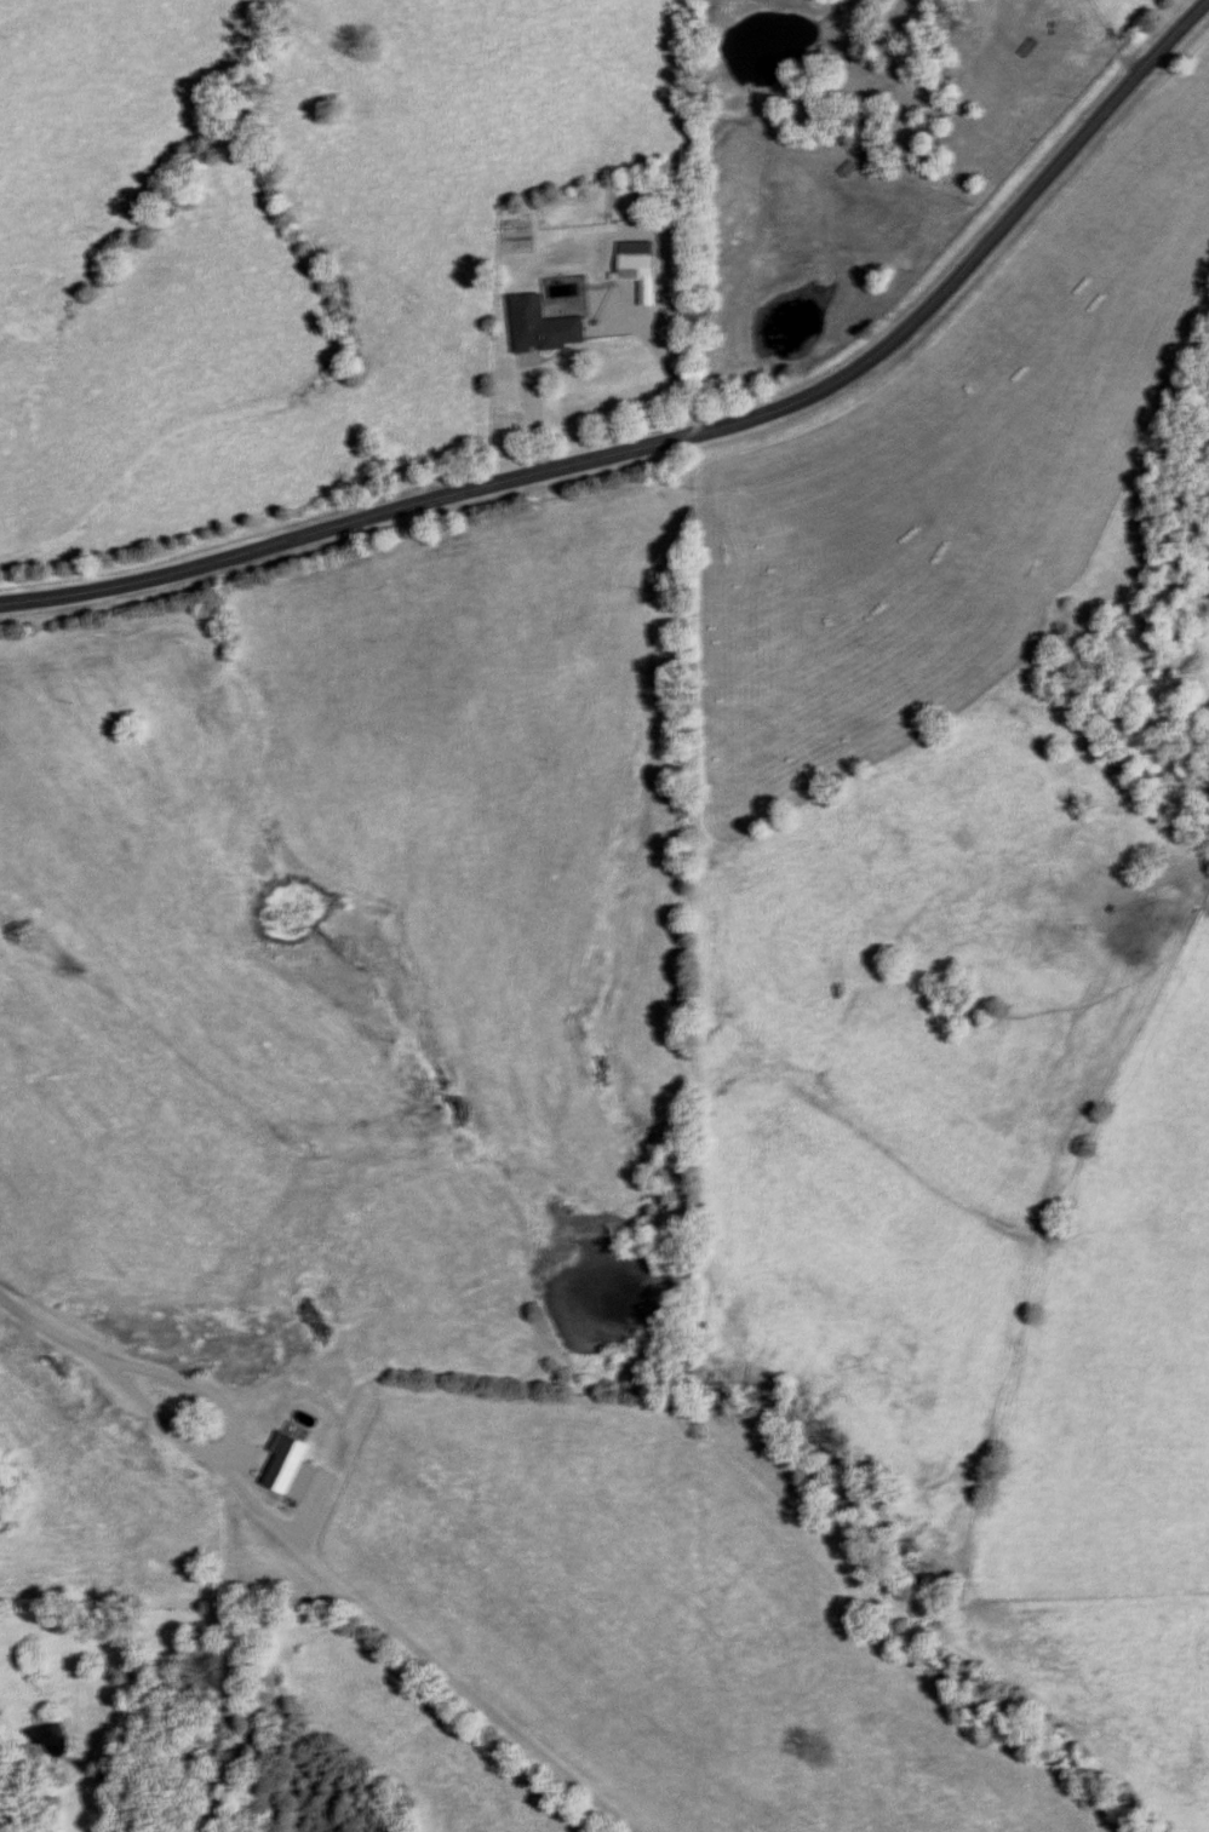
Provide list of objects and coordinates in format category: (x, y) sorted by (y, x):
building: (640, 262)
building: (546, 327)
road: (670, 374)
road: (534, 424)
road: (682, 440)
building: (426, 1085)
road: (53, 1336)
building: (176, 1401)
road: (228, 1438)

